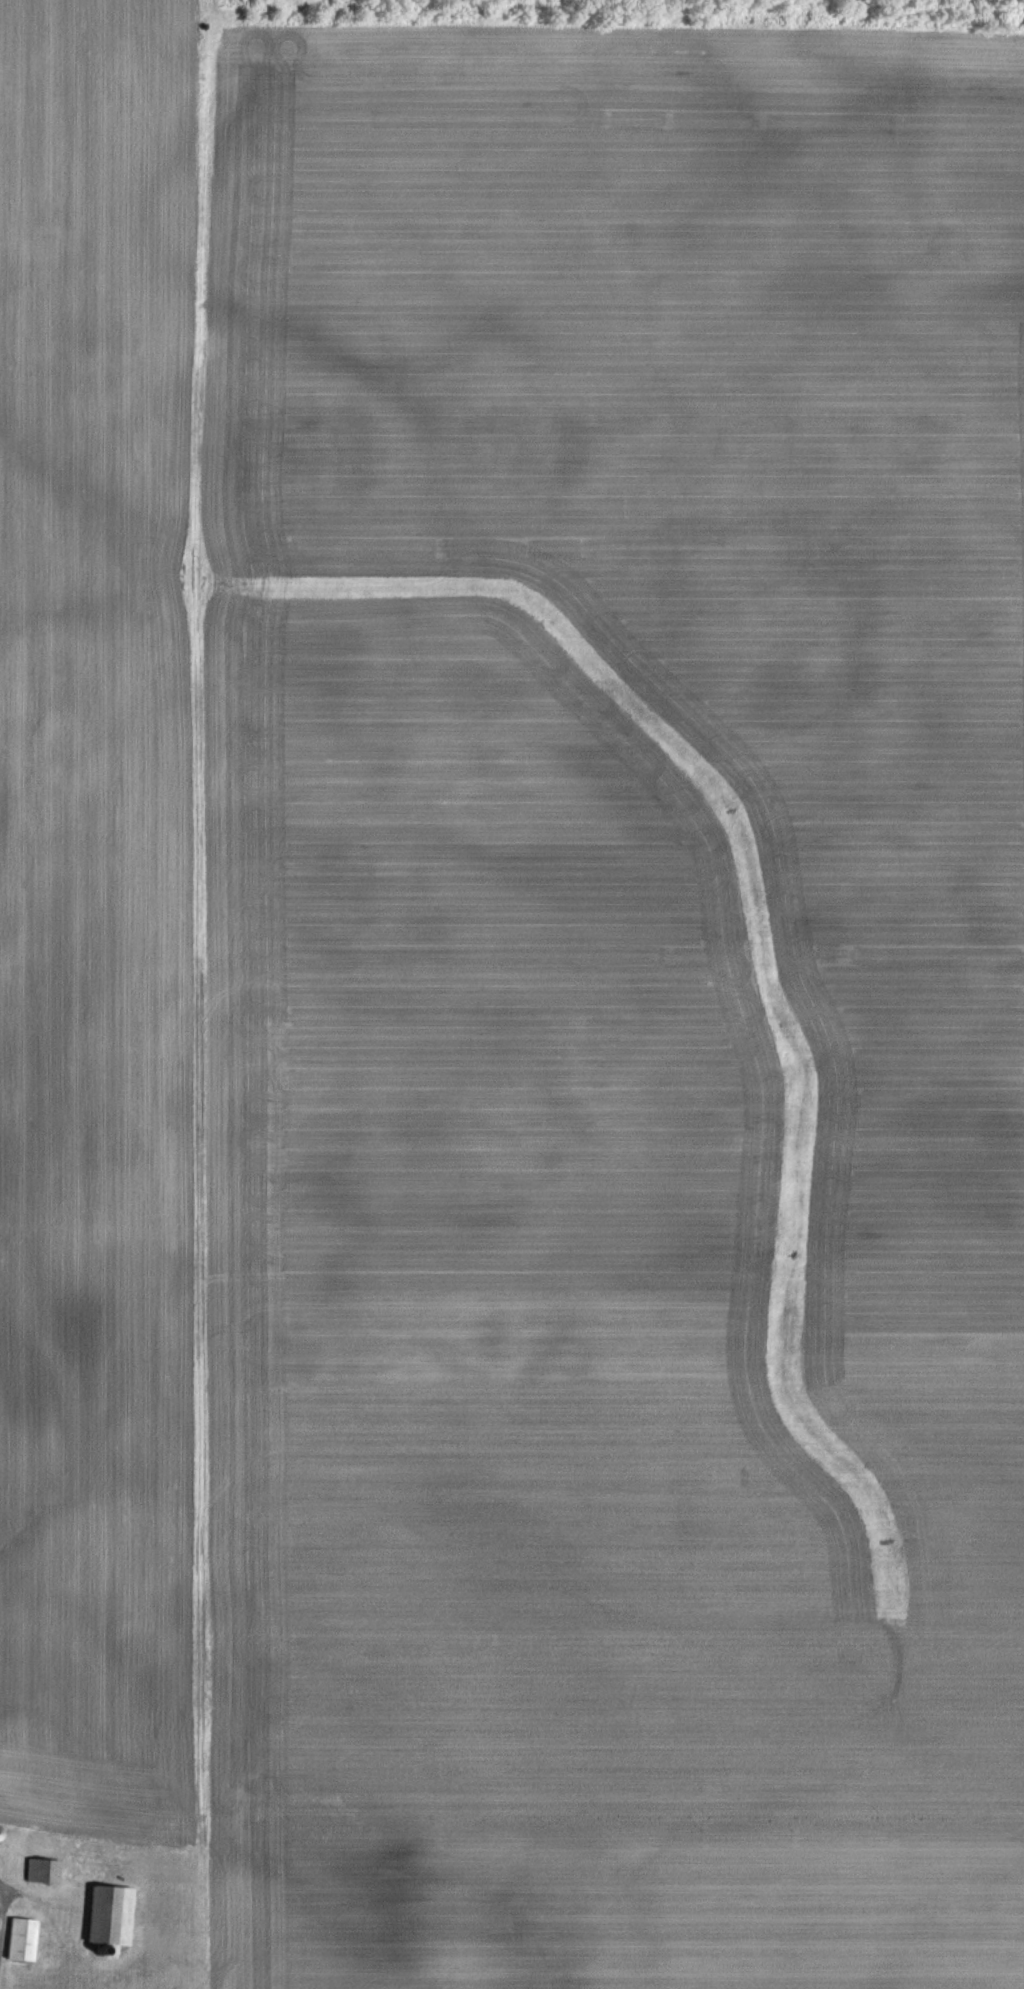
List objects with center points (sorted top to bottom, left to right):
crop: (518, 979)
building: (6, 1861)
building: (41, 1872)
road: (1, 1899)
building: (107, 1916)
building: (18, 1940)

